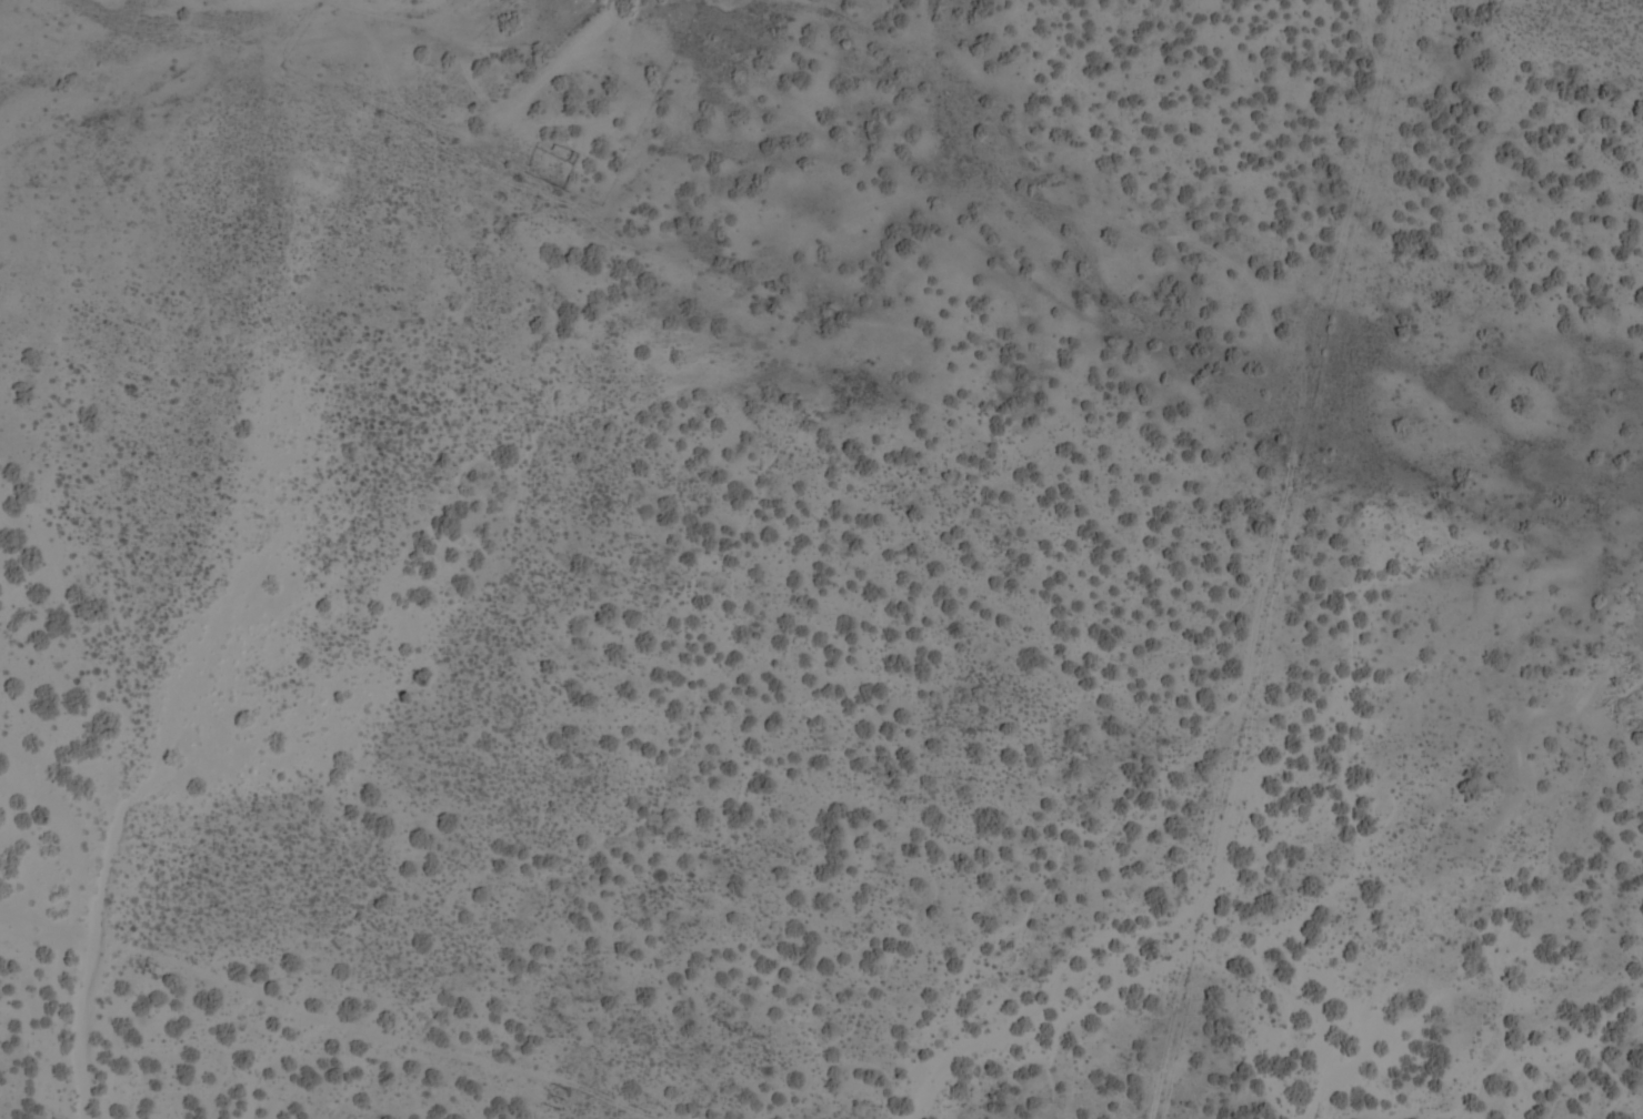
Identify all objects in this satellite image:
power tower: (158, 969)
power tower: (564, 1098)

